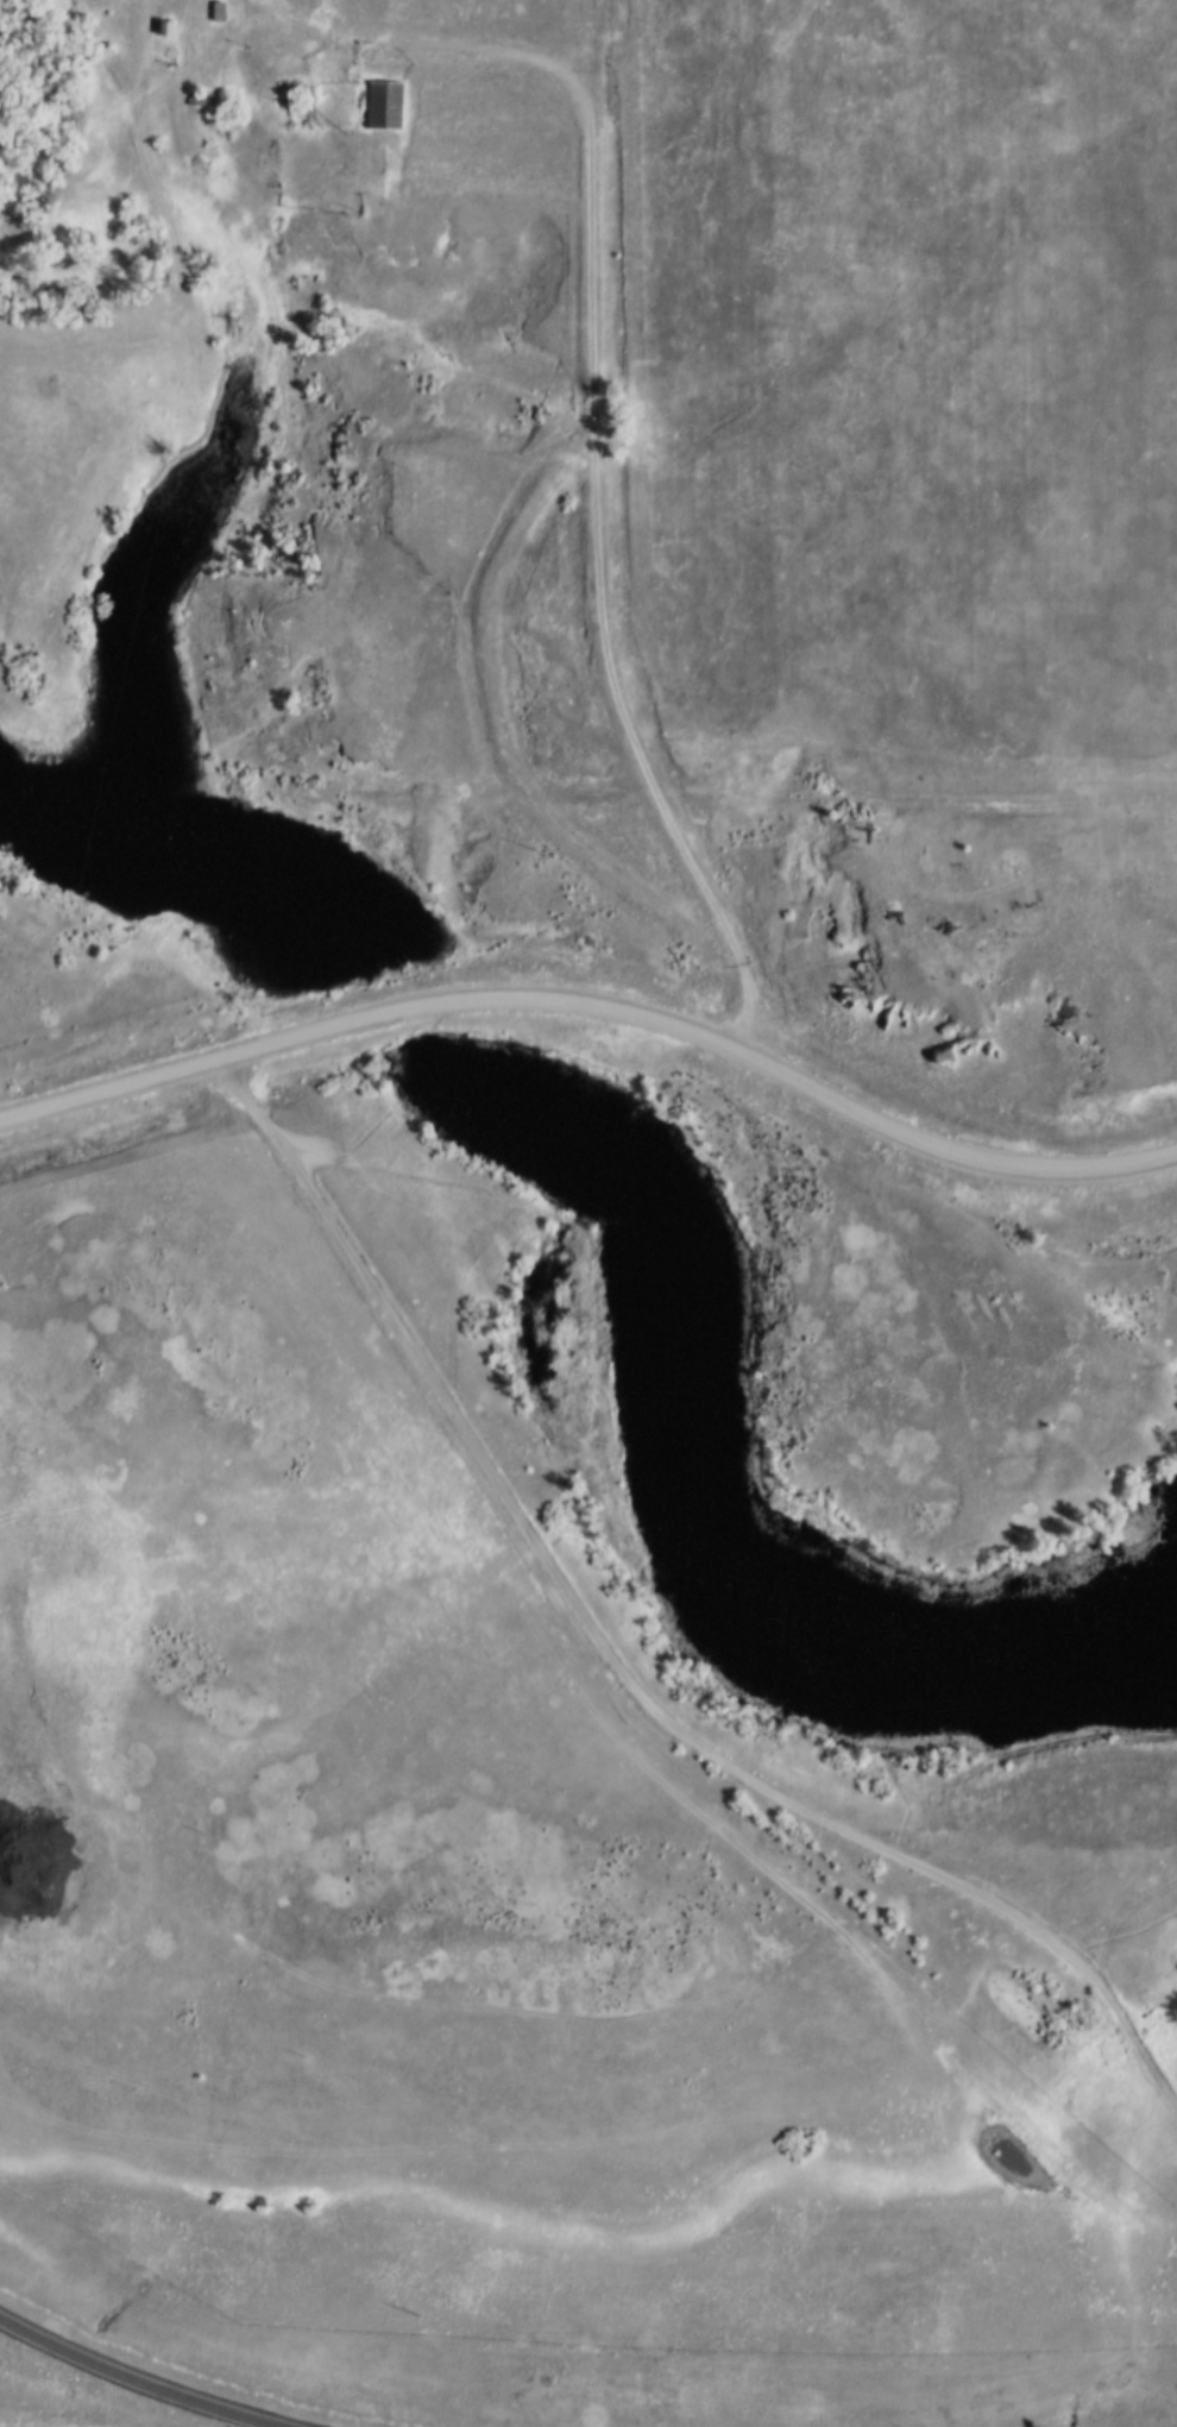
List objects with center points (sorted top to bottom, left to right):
building: (218, 13)
road: (290, 18)
building: (384, 106)
road: (593, 441)
road: (496, 731)
road: (912, 797)
road: (598, 1002)
road: (490, 1201)
road: (618, 1666)
road: (1018, 1828)
road: (1121, 1934)
road: (364, 2000)
road: (127, 2384)

